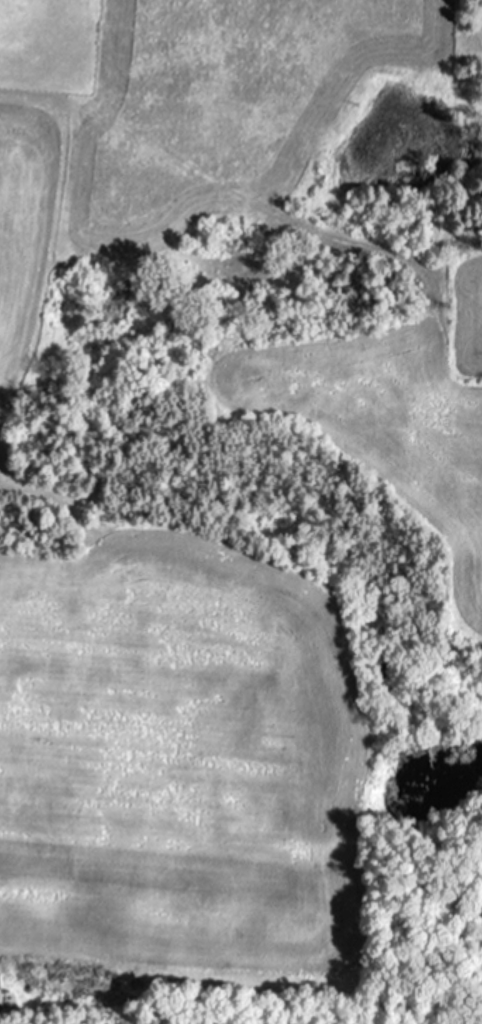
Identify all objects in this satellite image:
building: (0, 992)

